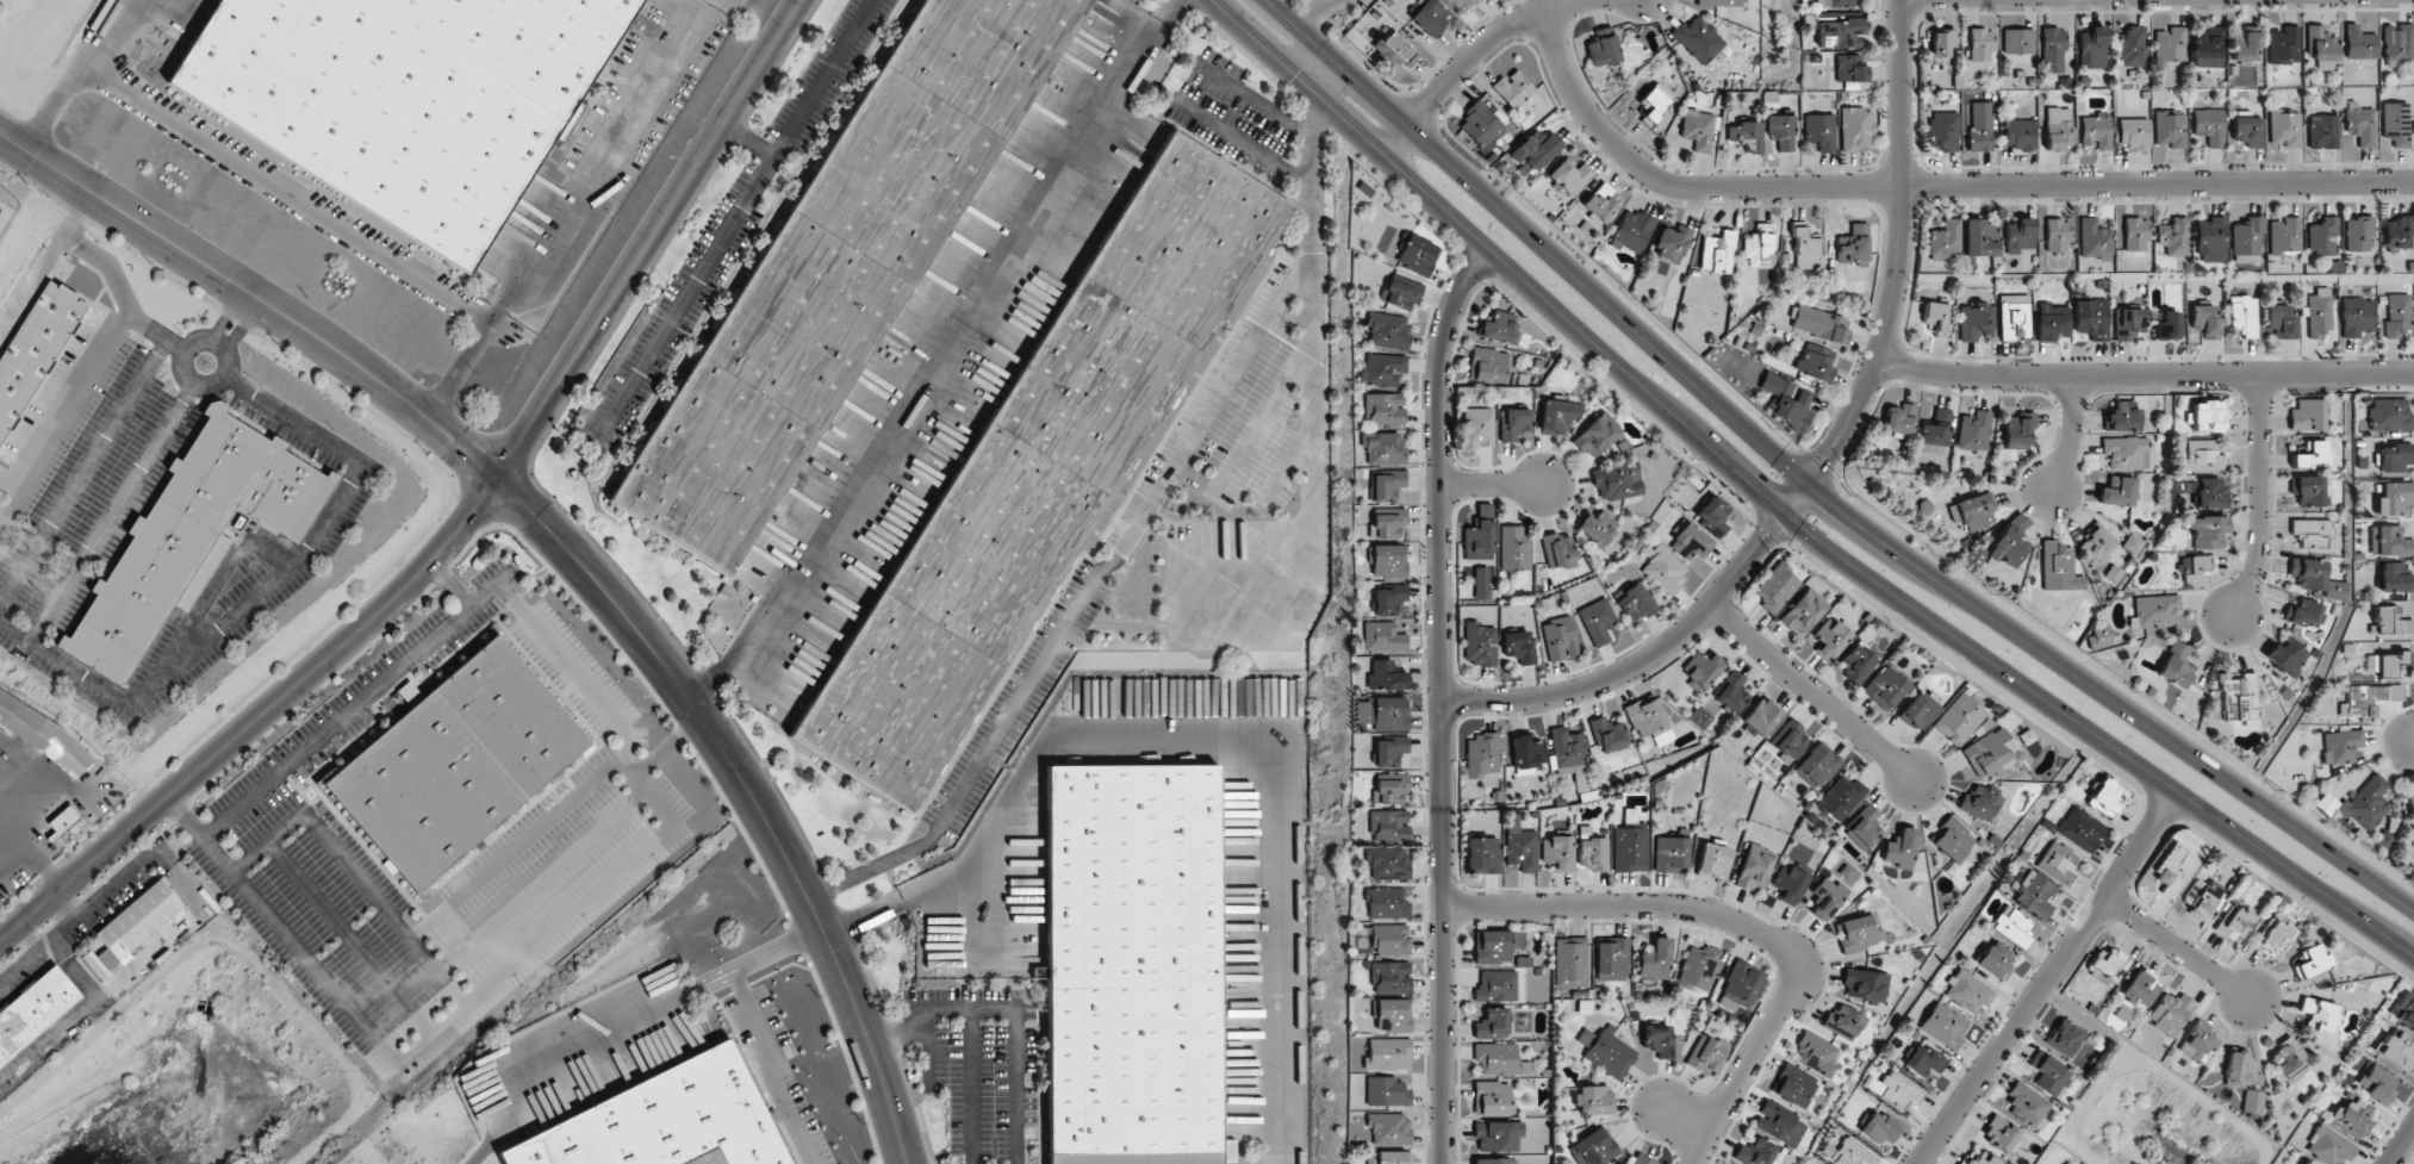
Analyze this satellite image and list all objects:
building: (1463, 2)
building: (1721, 2)
building: (1834, 2)
road: (1314, 15)
building: (1430, 17)
building: (1839, 33)
building: (1698, 39)
building: (2017, 41)
building: (1941, 42)
building: (2358, 43)
building: (2399, 43)
building: (1980, 44)
building: (2246, 44)
building: (2170, 45)
building: (2284, 45)
building: (2320, 45)
building: (1600, 46)
building: (2130, 46)
building: (2091, 48)
building: (2209, 48)
building: (1395, 50)
building: (2052, 50)
road: (1469, 57)
road: (1311, 66)
building: (1849, 68)
road: (77, 74)
building: (1513, 88)
building: (402, 97)
road: (1250, 99)
building: (1655, 107)
building: (2360, 124)
building: (2395, 124)
building: (1479, 125)
building: (1980, 126)
building: (2209, 126)
building: (2284, 127)
building: (1697, 129)
building: (1855, 129)
building: (2058, 129)
building: (2170, 129)
building: (2247, 129)
building: (1945, 130)
building: (1780, 131)
building: (2095, 131)
building: (2322, 131)
building: (1821, 132)
building: (2133, 132)
building: (2018, 133)
building: (1747, 135)
road: (747, 141)
road: (1240, 141)
building: (1533, 150)
building: (1570, 176)
road: (1924, 186)
road: (77, 212)
road: (572, 214)
road: (730, 222)
building: (1632, 231)
building: (2357, 232)
building: (2396, 232)
building: (2134, 234)
building: (2018, 235)
building: (2057, 235)
building: (2284, 235)
building: (2172, 236)
building: (2321, 237)
building: (1980, 238)
building: (2093, 239)
building: (2210, 239)
road: (649, 241)
building: (1945, 241)
building: (2245, 241)
building: (1672, 243)
building: (1853, 245)
road: (86, 250)
building: (1757, 250)
building: (1805, 250)
building: (1718, 253)
building: (1417, 255)
building: (839, 269)
building: (1399, 293)
road: (256, 295)
road: (244, 304)
building: (2319, 312)
building: (2396, 313)
building: (2244, 315)
building: (1936, 316)
building: (2014, 316)
building: (2357, 317)
building: (2091, 318)
building: (1974, 320)
building: (2204, 320)
building: (2281, 320)
building: (2052, 322)
building: (2128, 323)
road: (1312, 324)
building: (1819, 324)
road: (220, 326)
building: (2167, 326)
building: (1498, 329)
building: (1387, 330)
road: (234, 335)
building: (35, 348)
road: (182, 360)
building: (1815, 362)
building: (1489, 365)
building: (1380, 369)
road: (2145, 375)
building: (1785, 402)
building: (1383, 409)
building: (2307, 415)
building: (1557, 416)
building: (2207, 416)
building: (2388, 416)
building: (2121, 417)
building: (1899, 419)
building: (1513, 423)
building: (1477, 428)
building: (2017, 429)
building: (1935, 432)
building: (1974, 432)
road: (2070, 434)
road: (1250, 436)
building: (1599, 437)
building: (1381, 448)
building: (2124, 452)
building: (2310, 454)
building: (2201, 456)
building: (2391, 457)
road: (1822, 462)
building: (1040, 472)
building: (1617, 481)
road: (1491, 483)
traffic signals: (1809, 484)
building: (1383, 485)
road: (1813, 487)
building: (2307, 488)
building: (2117, 491)
building: (2209, 492)
road: (2259, 497)
building: (2393, 499)
building: (1971, 510)
road: (1782, 515)
building: (1712, 516)
traffic signals: (1785, 517)
building: (1387, 524)
building: (1598, 529)
building: (2207, 531)
building: (2313, 533)
building: (191, 534)
building: (1477, 540)
building: (2010, 541)
building: (2388, 541)
building: (1690, 542)
building: (2097, 543)
building: (2133, 543)
building: (1513, 549)
building: (1558, 550)
building: (1386, 561)
building: (2059, 568)
building: (1663, 569)
building: (2192, 569)
building: (2308, 573)
building: (2394, 578)
building: (1481, 583)
building: (1775, 587)
road: (262, 589)
building: (2335, 590)
road: (1081, 598)
building: (1387, 599)
building: (1636, 602)
building: (2154, 610)
building: (1803, 611)
building: (2304, 612)
building: (1597, 621)
building: (1380, 636)
building: (1830, 637)
building: (2097, 637)
building: (1558, 639)
building: (1477, 643)
building: (1518, 646)
road: (560, 655)
building: (2288, 655)
building: (1856, 662)
building: (2385, 664)
building: (2175, 666)
building: (1701, 670)
building: (1383, 676)
building: (1886, 686)
road: (1815, 691)
building: (1731, 692)
road: (1437, 698)
building: (2240, 699)
building: (2366, 699)
building: (1917, 711)
building: (1385, 712)
building: (1761, 717)
road: (256, 720)
building: (1649, 720)
building: (1959, 720)
building: (1607, 735)
building: (43, 736)
road: (1220, 739)
building: (1788, 740)
building: (2340, 746)
road: (666, 747)
building: (1566, 748)
building: (1387, 751)
building: (1990, 752)
building: (1482, 754)
building: (1526, 754)
building: (456, 764)
building: (1817, 766)
building: (101, 774)
building: (1386, 789)
road: (754, 792)
building: (1840, 797)
building: (2104, 797)
building: (1981, 803)
building: (2366, 803)
building: (2410, 808)
building: (89, 817)
road: (183, 817)
building: (61, 822)
building: (1386, 826)
building: (1864, 828)
building: (2080, 829)
building: (1953, 842)
building: (1519, 845)
road: (32, 848)
building: (1900, 848)
building: (1629, 849)
building: (1556, 853)
building: (1670, 853)
building: (1481, 855)
building: (1712, 859)
building: (1385, 863)
building: (2057, 863)
building: (1755, 867)
building: (2173, 870)
building: (1788, 883)
building: (2033, 895)
building: (1827, 897)
building: (2200, 897)
building: (1383, 903)
building: (138, 919)
road: (1732, 923)
building: (2234, 923)
building: (2010, 926)
building: (1858, 933)
building: (2273, 935)
building: (1387, 939)
building: (1493, 946)
road: (2177, 947)
building: (1993, 958)
building: (1132, 959)
building: (1612, 959)
building: (1655, 959)
road: (761, 960)
building: (2107, 960)
building: (1570, 961)
building: (2310, 961)
building: (1698, 967)
road: (436, 971)
road: (499, 975)
building: (1387, 977)
road: (2048, 978)
building: (1865, 984)
building: (1495, 985)
building: (2141, 988)
building: (1966, 991)
building: (2403, 1009)
road: (932, 1010)
building: (33, 1012)
building: (2170, 1012)
building: (1389, 1015)
building: (2320, 1015)
building: (1843, 1022)
building: (1492, 1023)
building: (1943, 1025)
building: (2065, 1037)
building: (1657, 1039)
building: (2197, 1042)
building: (2395, 1050)
building: (1606, 1052)
building: (1706, 1053)
building: (1816, 1053)
building: (1385, 1054)
building: (2288, 1058)
road: (926, 1059)
building: (1923, 1060)
building: (2240, 1067)
road: (774, 1069)
building: (2048, 1073)
building: (2377, 1083)
building: (1794, 1085)
road: (971, 1087)
road: (1015, 1087)
building: (1893, 1089)
building: (1383, 1091)
building: (1492, 1098)
building: (1593, 1100)
building: (2252, 1102)
building: (2027, 1106)
building: (2351, 1118)
road: (1680, 1120)
building: (665, 1121)
building: (1779, 1123)
building: (1386, 1128)
building: (1880, 1128)
building: (1999, 1133)
building: (1498, 1135)
road: (2400, 1144)
building: (2329, 1146)
building: (1594, 1147)
building: (1227, 1151)
building: (1754, 1152)
building: (1853, 1153)
building: (1134, 1158)
building: (1636, 1159)
building: (1978, 1159)
building: (1494, 1160)
building: (2309, 1163)

